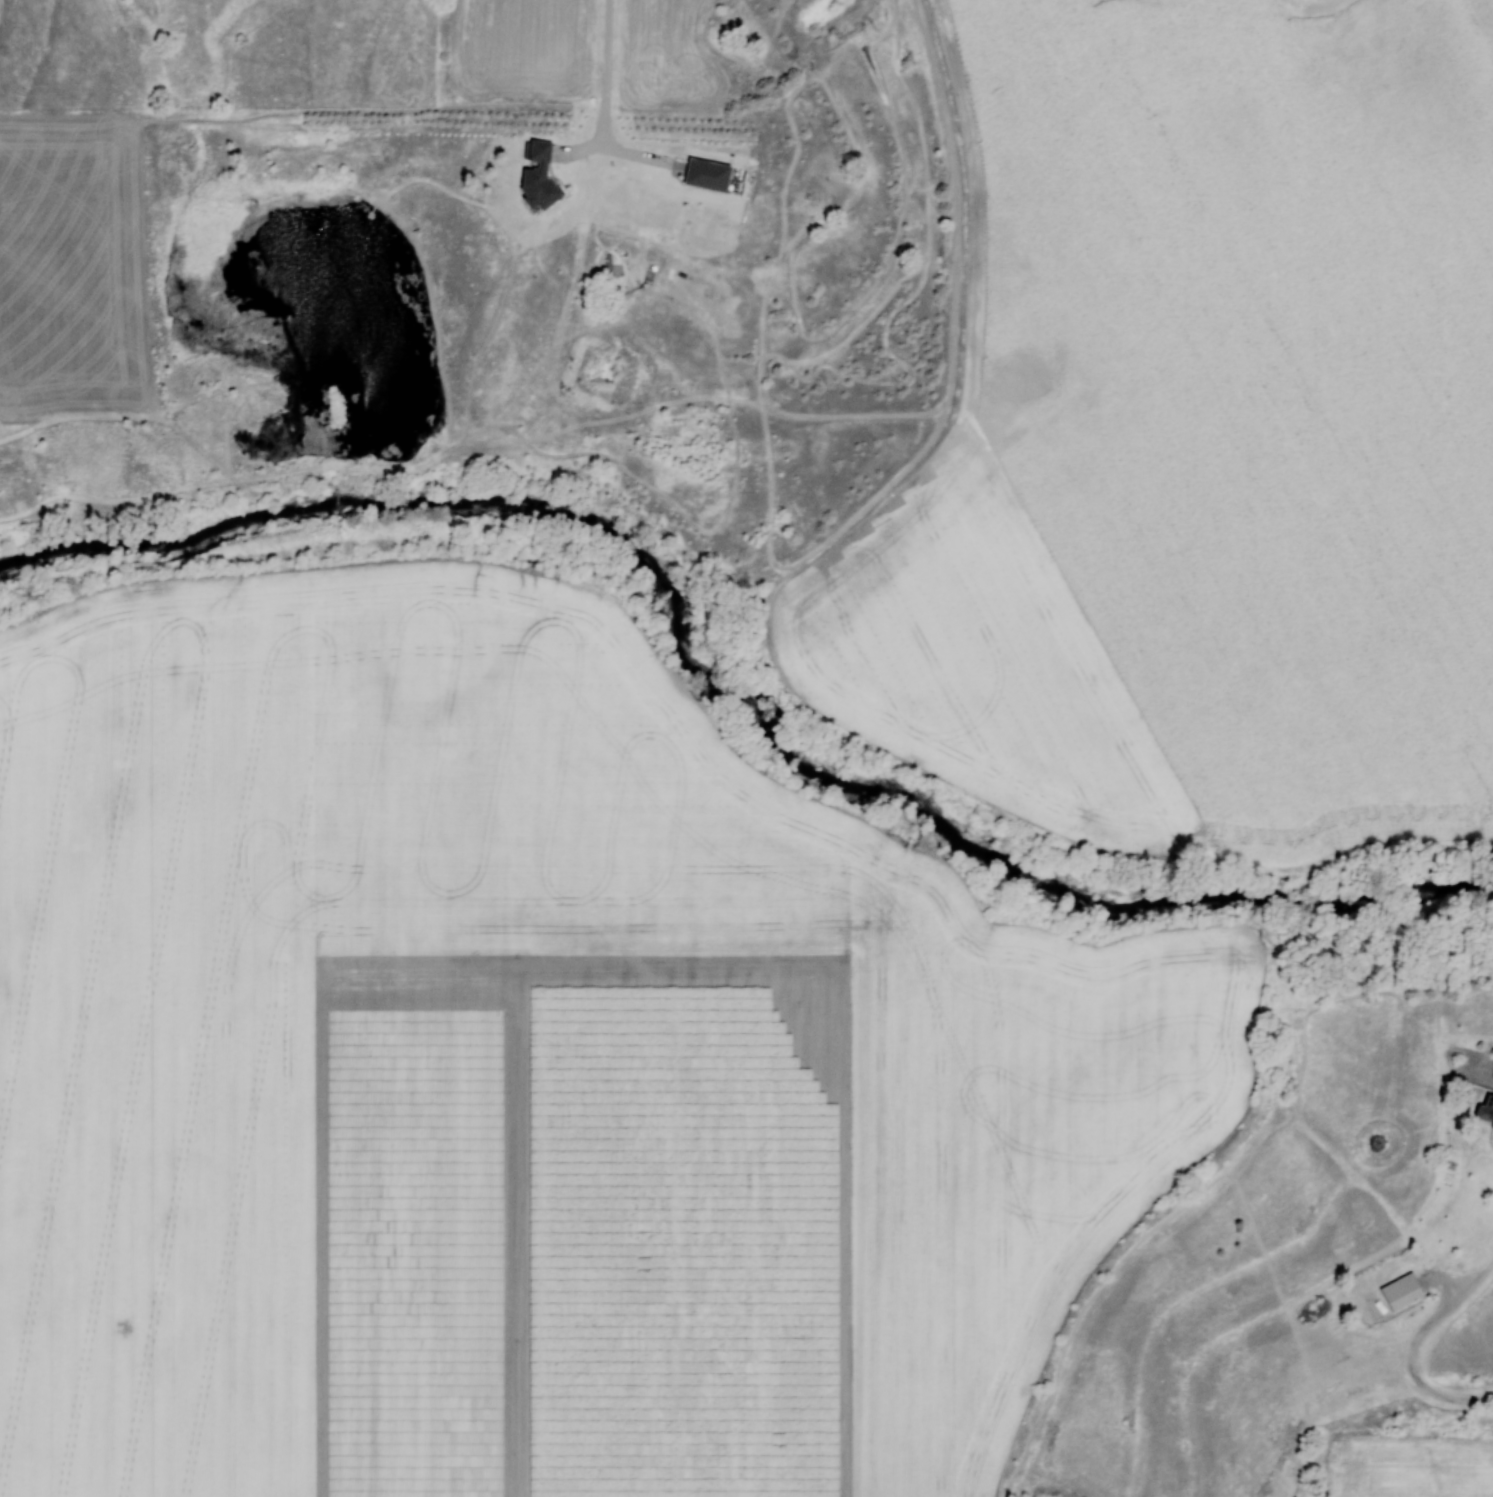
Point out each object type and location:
building: (1485, 1110)
building: (1401, 1291)

